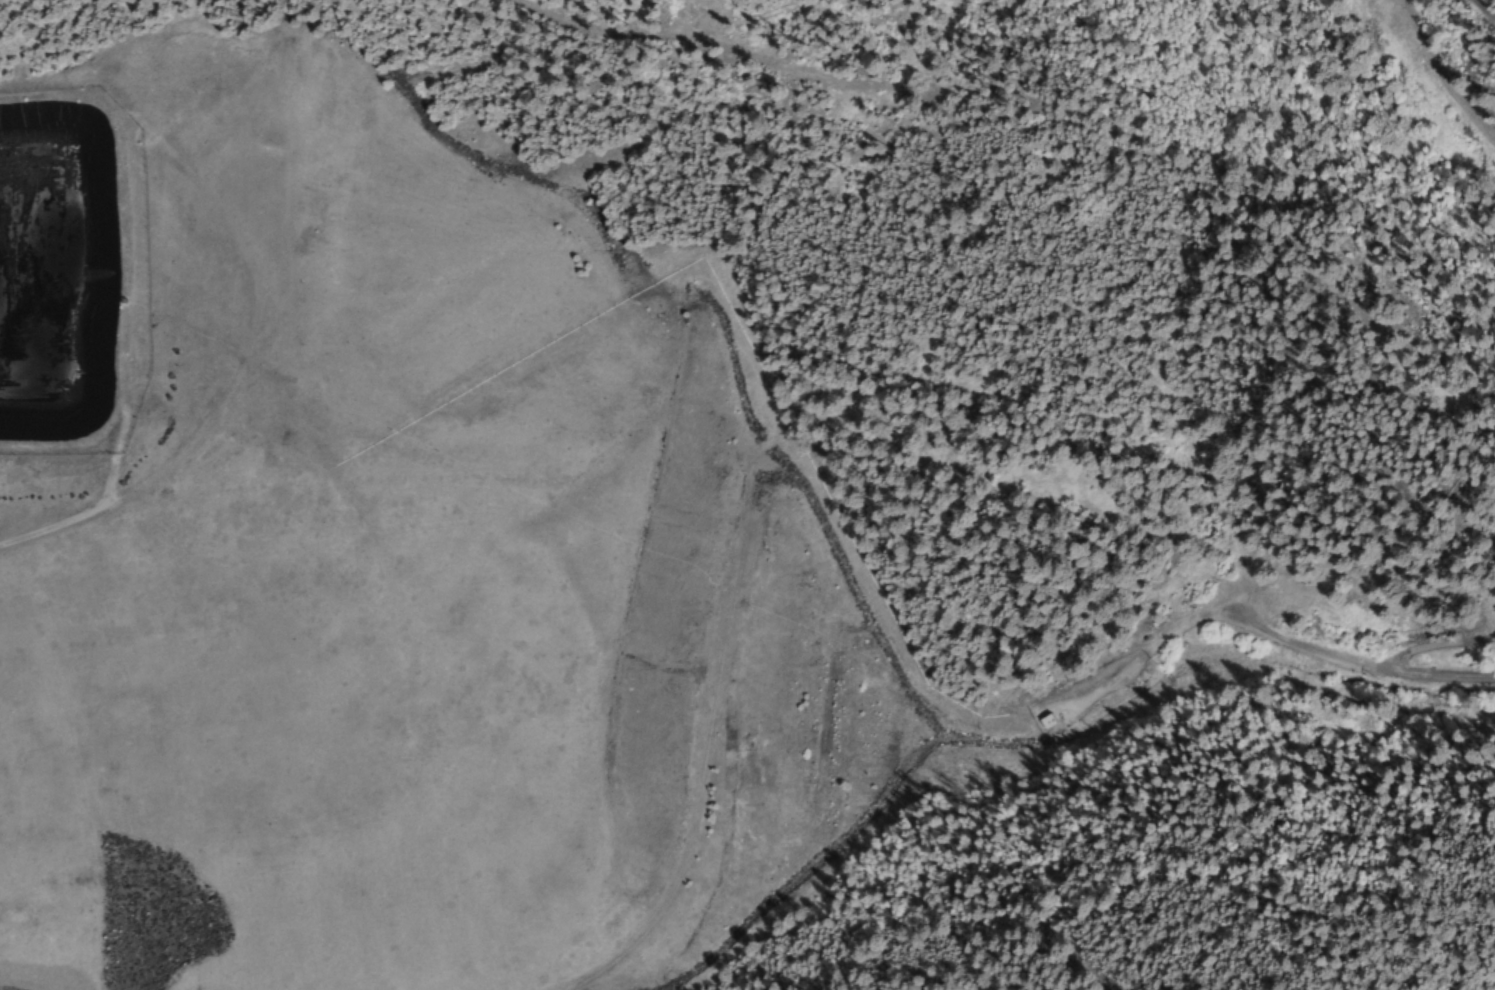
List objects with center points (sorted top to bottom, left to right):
road: (1267, 632)
road: (1437, 643)
building: (1042, 722)

